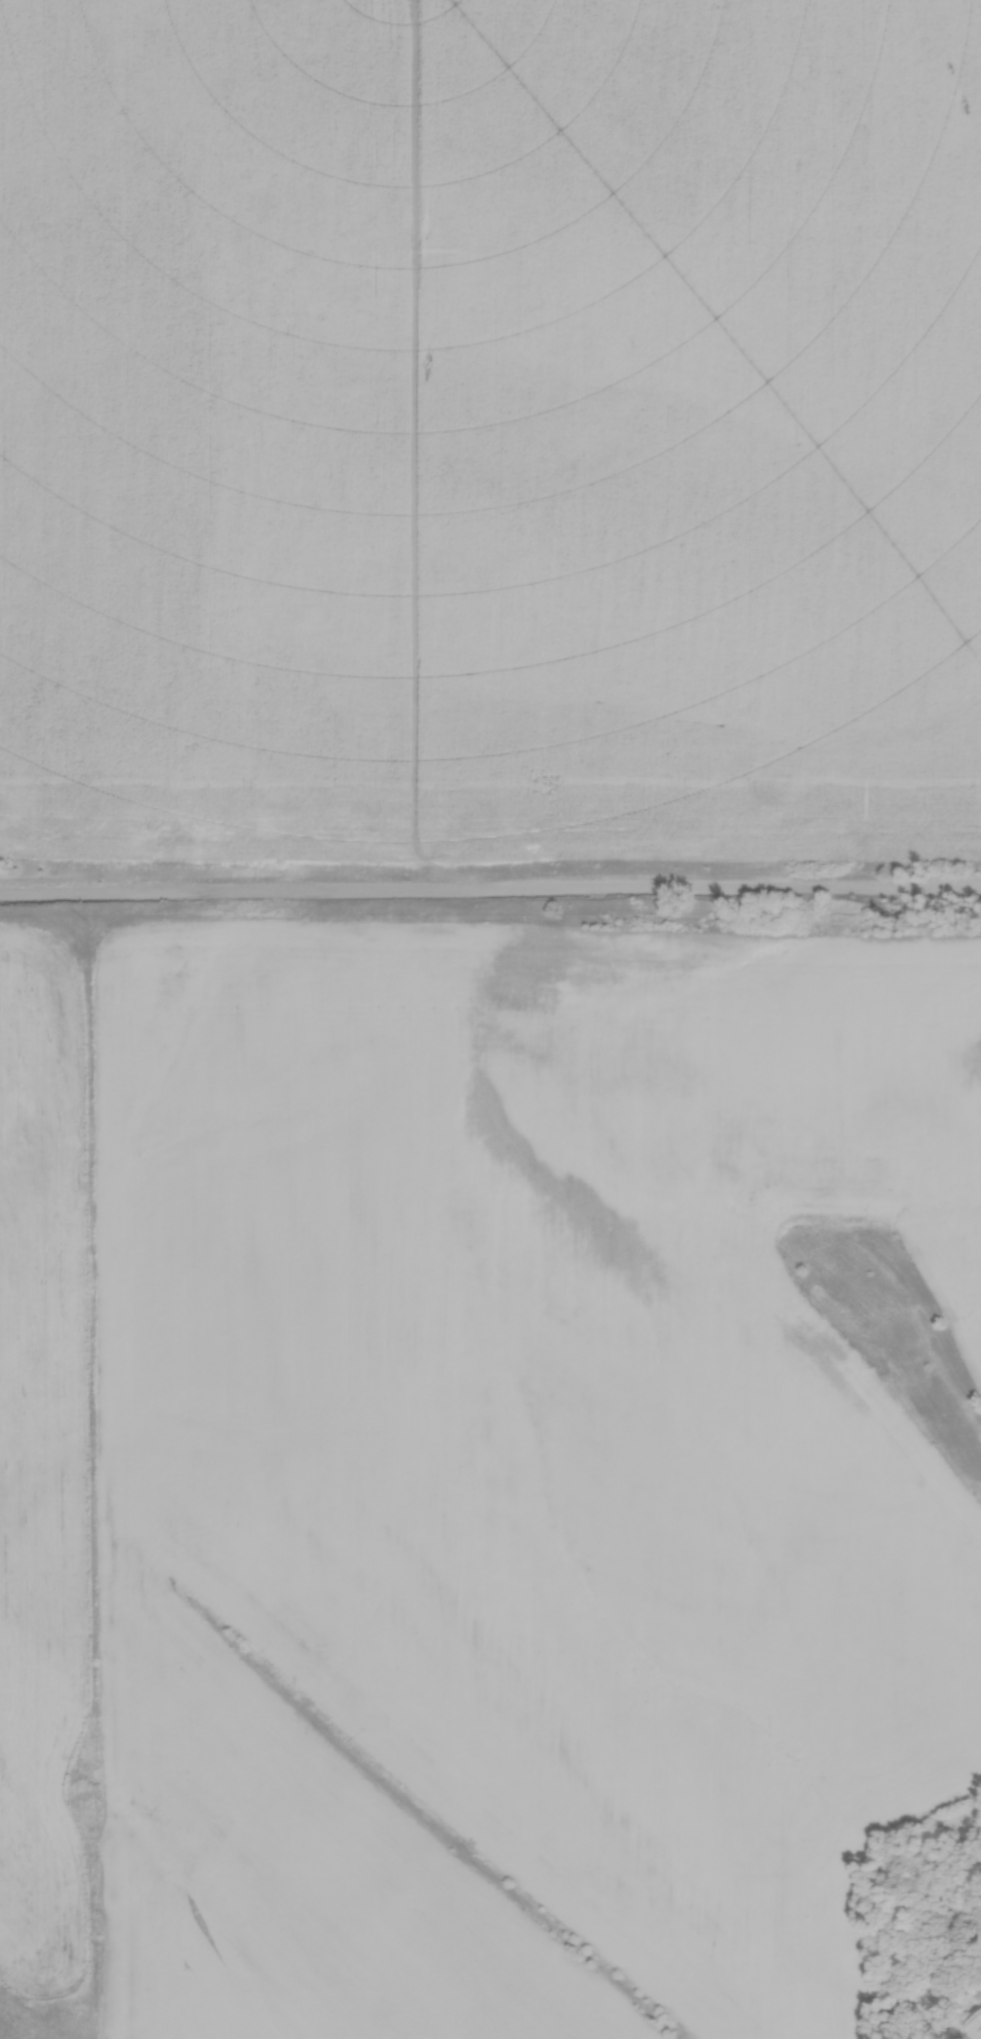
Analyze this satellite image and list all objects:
road: (490, 892)
building: (973, 2022)

